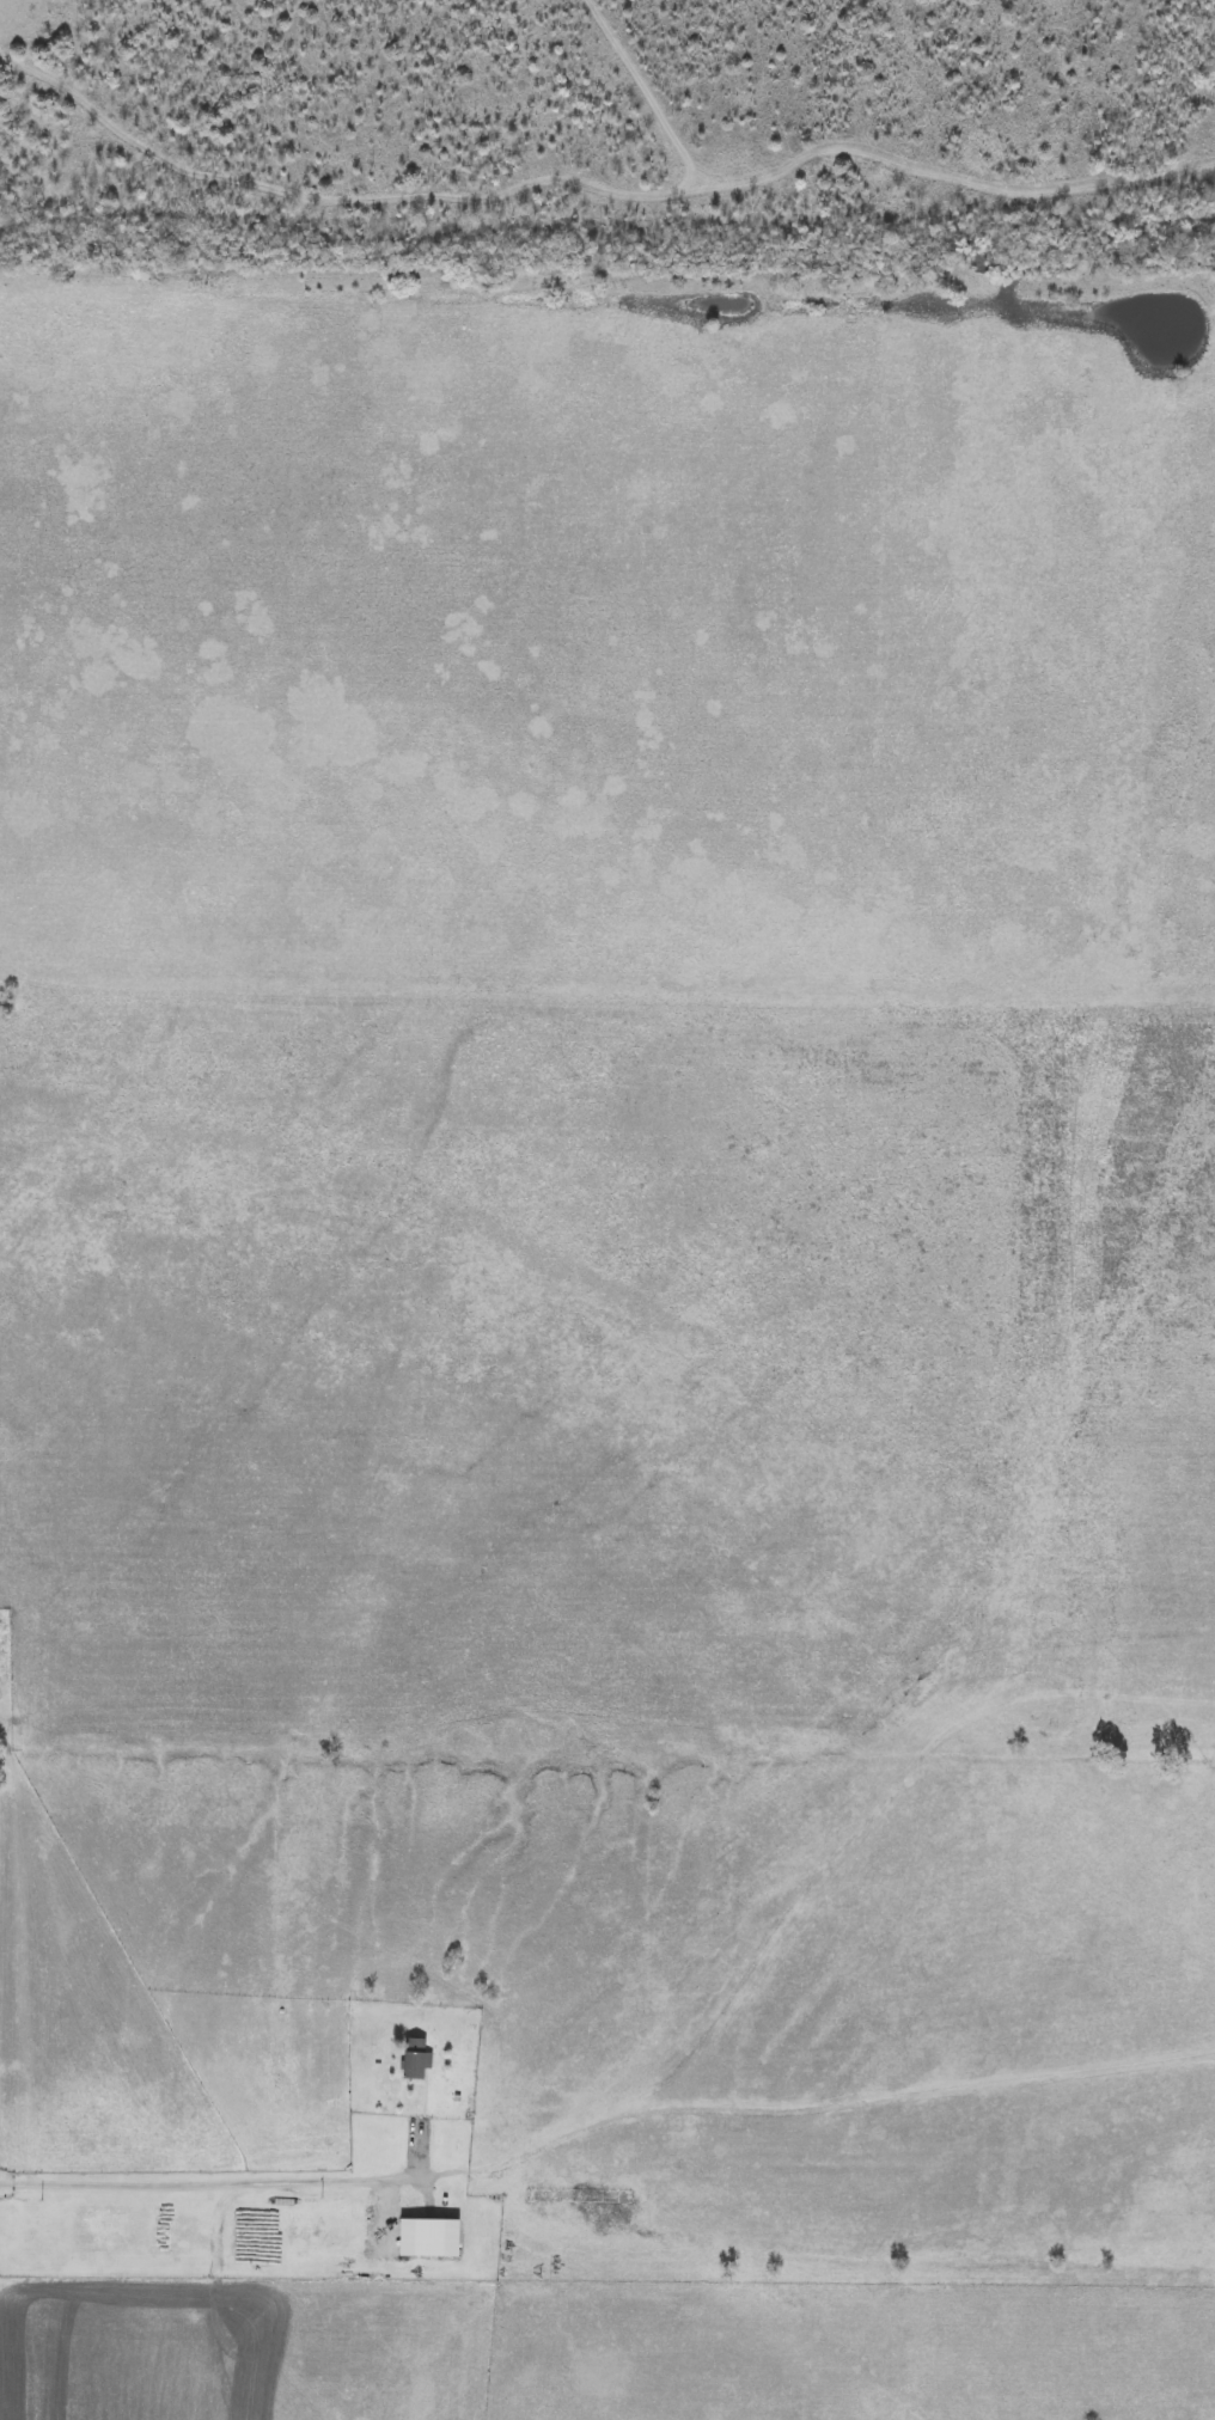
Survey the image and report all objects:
building: (416, 2059)
road: (216, 2183)
building: (429, 2238)

